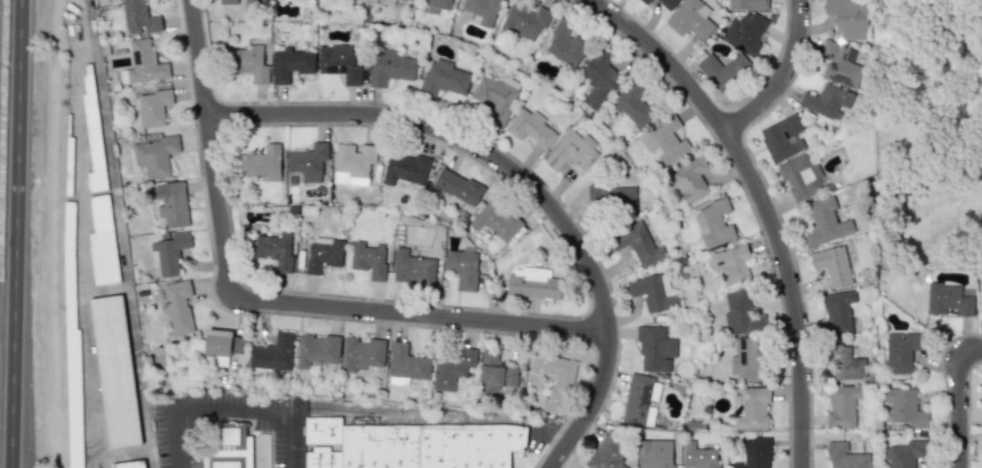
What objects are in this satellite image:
building: (357, 0)
building: (232, 1)
building: (644, 1)
building: (668, 3)
building: (747, 4)
building: (436, 5)
building: (480, 10)
building: (139, 18)
building: (848, 18)
building: (524, 20)
building: (689, 20)
building: (744, 32)
building: (565, 44)
rooftop solar panel: (829, 54)
rooftop solar panel: (136, 56)
building: (339, 62)
building: (143, 63)
building: (249, 63)
building: (840, 63)
building: (290, 64)
rooftop solar panel: (834, 66)
building: (391, 67)
rooftop solar panel: (334, 69)
rooftop solar panel: (341, 69)
building: (718, 71)
road: (786, 76)
building: (442, 78)
building: (599, 79)
rooftop solar panel: (841, 79)
building: (494, 98)
building: (827, 101)
building: (633, 104)
building: (151, 107)
building: (530, 128)
building: (92, 135)
building: (784, 138)
building: (666, 142)
building: (572, 152)
building: (155, 155)
building: (308, 161)
building: (263, 163)
building: (352, 164)
building: (405, 168)
building: (800, 176)
road: (524, 178)
building: (690, 179)
building: (457, 187)
building: (611, 197)
building: (172, 203)
road: (767, 203)
building: (496, 221)
building: (824, 222)
building: (713, 224)
road: (13, 234)
building: (102, 241)
building: (636, 243)
building: (275, 250)
building: (170, 252)
building: (324, 254)
building: (368, 259)
building: (730, 264)
building: (833, 265)
building: (413, 268)
building: (463, 268)
building: (532, 283)
building: (653, 292)
building: (980, 295)
building: (948, 300)
road: (271, 303)
building: (178, 306)
building: (837, 312)
building: (741, 314)
rooftop solar panel: (745, 341)
building: (221, 346)
building: (655, 349)
building: (316, 350)
building: (902, 351)
building: (273, 353)
building: (362, 353)
road: (969, 353)
rooftop solar panel: (744, 357)
building: (744, 359)
building: (845, 363)
building: (406, 365)
building: (120, 368)
building: (452, 368)
building: (495, 375)
building: (554, 380)
rooftop solar panel: (649, 395)
building: (74, 398)
building: (639, 398)
building: (842, 405)
road: (232, 408)
building: (904, 408)
building: (753, 409)
road: (954, 411)
rooftop solar panel: (644, 413)
rooftop solar panel: (634, 421)
building: (412, 445)
building: (231, 447)
building: (655, 454)
building: (755, 454)
building: (699, 456)
building: (846, 456)
building: (899, 456)
building: (134, 466)

